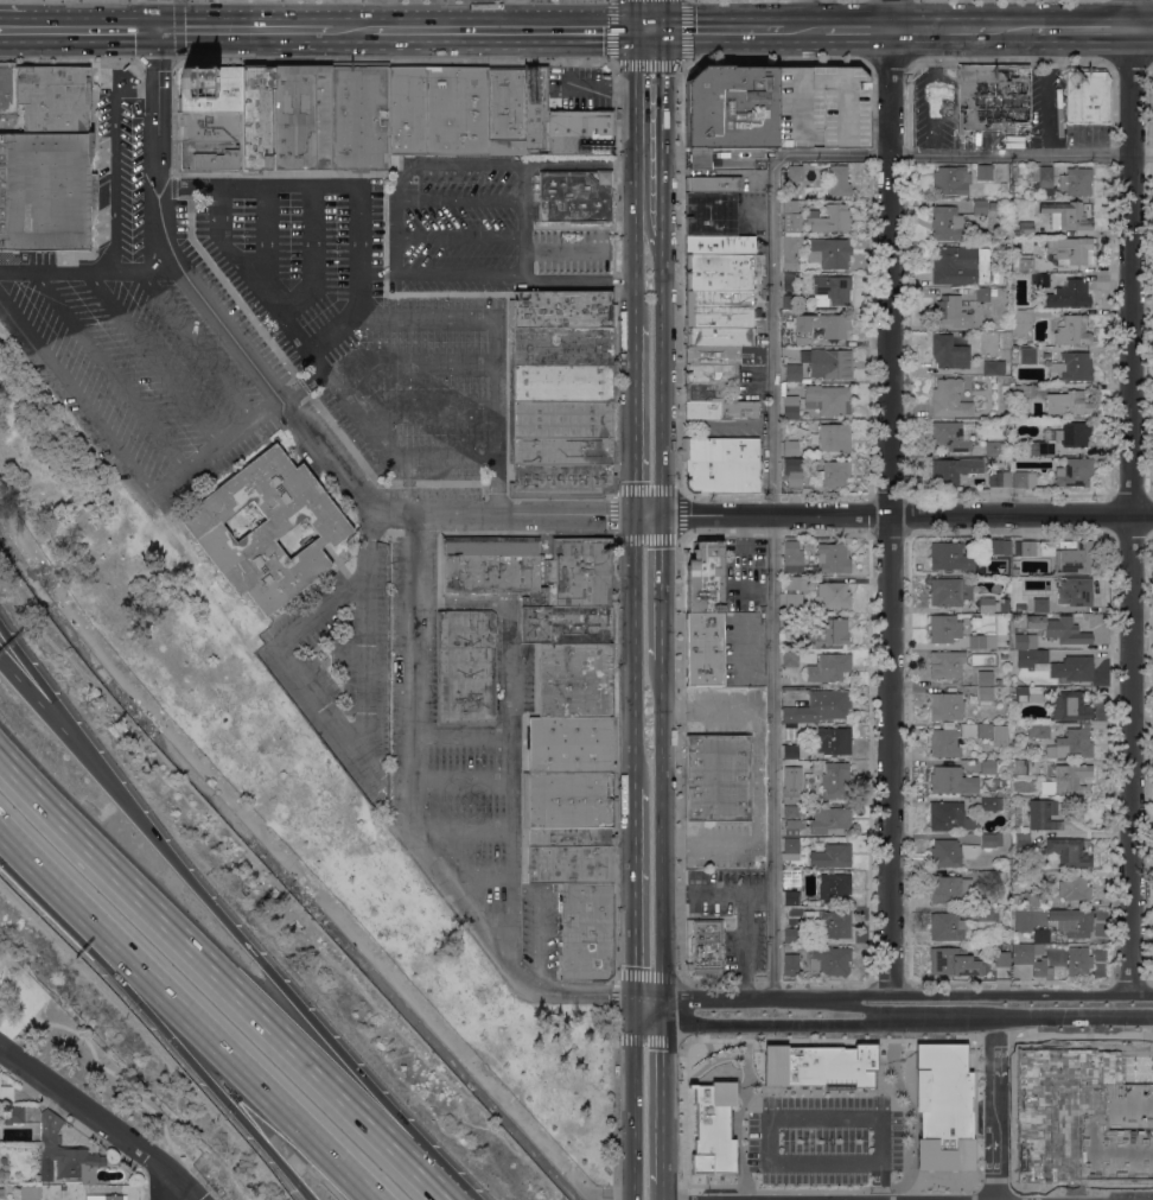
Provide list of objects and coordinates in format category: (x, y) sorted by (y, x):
road: (155, 14)
road: (516, 14)
road: (633, 14)
road: (663, 14)
road: (77, 27)
road: (243, 30)
road: (517, 30)
traffic signals: (633, 30)
traffic signals: (663, 30)
road: (722, 30)
road: (1144, 30)
road: (352, 31)
road: (804, 31)
road: (860, 31)
road: (942, 31)
road: (1011, 31)
road: (1083, 31)
road: (1049, 49)
building: (7, 89)
building: (210, 89)
building: (1088, 94)
building: (992, 96)
building: (55, 97)
building: (773, 109)
building: (456, 110)
road: (1049, 110)
building: (256, 116)
building: (301, 116)
building: (358, 118)
building: (561, 122)
building: (206, 140)
road: (635, 146)
road: (662, 146)
road: (113, 153)
road: (1144, 154)
road: (740, 157)
road: (675, 159)
road: (700, 159)
road: (581, 161)
road: (463, 164)
building: (983, 171)
building: (795, 172)
building: (1043, 174)
building: (950, 179)
building: (839, 180)
building: (1076, 180)
road: (357, 183)
building: (712, 184)
building: (1002, 185)
building: (45, 190)
building: (574, 195)
road: (463, 198)
building: (980, 207)
building: (709, 214)
building: (1066, 215)
building: (790, 216)
road: (524, 217)
building: (829, 217)
road: (396, 218)
building: (947, 223)
building: (1024, 228)
road: (459, 236)
road: (267, 239)
building: (719, 243)
road: (563, 249)
building: (1069, 249)
building: (791, 250)
building: (829, 253)
road: (313, 254)
building: (1023, 264)
building: (961, 265)
road: (88, 269)
building: (718, 272)
road: (459, 274)
building: (1039, 279)
road: (578, 281)
building: (789, 281)
building: (833, 288)
building: (985, 292)
road: (635, 293)
building: (1069, 293)
building: (789, 301)
building: (562, 310)
building: (718, 310)
building: (950, 312)
building: (1026, 318)
building: (822, 324)
road: (293, 328)
building: (1072, 330)
building: (716, 336)
road: (195, 344)
building: (949, 351)
building: (712, 355)
building: (1027, 355)
road: (152, 357)
road: (414, 361)
building: (828, 362)
building: (562, 364)
building: (1074, 366)
building: (995, 367)
road: (496, 369)
road: (109, 372)
building: (711, 373)
building: (792, 373)
road: (301, 383)
road: (662, 388)
building: (1005, 388)
building: (706, 392)
road: (771, 394)
road: (76, 395)
building: (1021, 396)
building: (949, 398)
building: (827, 399)
building: (1068, 402)
building: (790, 406)
road: (286, 409)
road: (431, 409)
building: (721, 409)
road: (636, 418)
building: (1072, 433)
building: (951, 434)
building: (834, 437)
road: (215, 446)
building: (790, 447)
building: (996, 447)
building: (1041, 447)
building: (561, 449)
building: (721, 464)
building: (795, 469)
building: (1074, 471)
building: (835, 472)
building: (947, 472)
building: (999, 478)
building: (1024, 478)
road: (496, 488)
road: (1130, 495)
road: (890, 496)
road: (906, 513)
traffic signals: (637, 514)
traffic signals: (661, 514)
building: (266, 528)
building: (999, 546)
building: (1025, 547)
building: (832, 555)
building: (949, 555)
building: (795, 558)
building: (1074, 558)
building: (492, 565)
building: (1015, 572)
building: (576, 573)
building: (705, 578)
building: (795, 583)
building: (1077, 590)
building: (950, 591)
building: (835, 595)
building: (794, 599)
road: (662, 601)
building: (986, 604)
building: (1040, 604)
building: (1020, 607)
building: (568, 624)
building: (790, 624)
building: (943, 628)
building: (1058, 628)
road: (370, 630)
building: (828, 631)
road: (635, 635)
building: (982, 641)
building: (1025, 641)
road: (279, 646)
building: (703, 649)
building: (1032, 658)
building: (790, 659)
building: (465, 664)
building: (947, 664)
building: (829, 667)
building: (1072, 668)
building: (985, 678)
building: (578, 679)
building: (1034, 693)
building: (985, 694)
building: (1020, 699)
road: (57, 706)
building: (947, 706)
building: (1070, 706)
building: (822, 707)
building: (466, 720)
road: (56, 723)
building: (1084, 724)
building: (968, 730)
building: (1039, 730)
building: (993, 732)
road: (460, 736)
building: (834, 739)
road: (512, 743)
building: (944, 743)
building: (572, 744)
building: (1071, 744)
building: (789, 751)
park: (285, 763)
building: (988, 767)
building: (1020, 767)
road: (757, 776)
building: (718, 777)
building: (835, 779)
building: (951, 780)
building: (1068, 780)
road: (461, 782)
building: (790, 782)
building: (569, 800)
building: (989, 804)
building: (1040, 813)
building: (948, 815)
building: (837, 819)
building: (794, 821)
road: (463, 828)
road: (415, 834)
building: (569, 837)
building: (990, 839)
building: (1023, 843)
road: (662, 845)
building: (791, 845)
building: (1069, 851)
building: (951, 852)
building: (832, 856)
building: (569, 863)
road: (633, 876)
building: (989, 876)
building: (790, 877)
building: (1015, 877)
road: (482, 880)
building: (834, 885)
building: (1074, 888)
building: (950, 889)
road: (757, 891)
building: (791, 897)
building: (1032, 899)
building: (1015, 900)
building: (811, 901)
road: (741, 910)
building: (987, 914)
building: (1072, 921)
building: (834, 923)
building: (945, 926)
building: (586, 929)
building: (791, 935)
building: (1040, 935)
building: (1014, 938)
building: (703, 946)
building: (1002, 957)
building: (830, 959)
building: (1031, 960)
building: (1078, 960)
building: (954, 961)
building: (790, 964)
building: (1020, 970)
road: (221, 977)
road: (288, 991)
road: (945, 992)
park: (17, 995)
traffic signals: (633, 995)
traffic signals: (660, 1002)
road: (700, 1009)
road: (886, 1009)
road: (196, 1010)
road: (1077, 1016)
road: (153, 1020)
road: (871, 1023)
road: (937, 1062)
road: (120, 1079)
road: (661, 1091)
building: (5, 1093)
road: (632, 1097)
building: (12, 1115)
building: (1083, 1116)
road: (101, 1120)
building: (791, 1122)
building: (65, 1150)
road: (1005, 1153)
building: (46, 1173)
building: (72, 1182)
road: (204, 1183)
road: (171, 1188)
road: (663, 1191)
building: (1, 1193)
building: (28, 1193)
road: (304, 1193)
building: (106, 1198)
road: (1006, 1199)
road: (1079, 1199)

